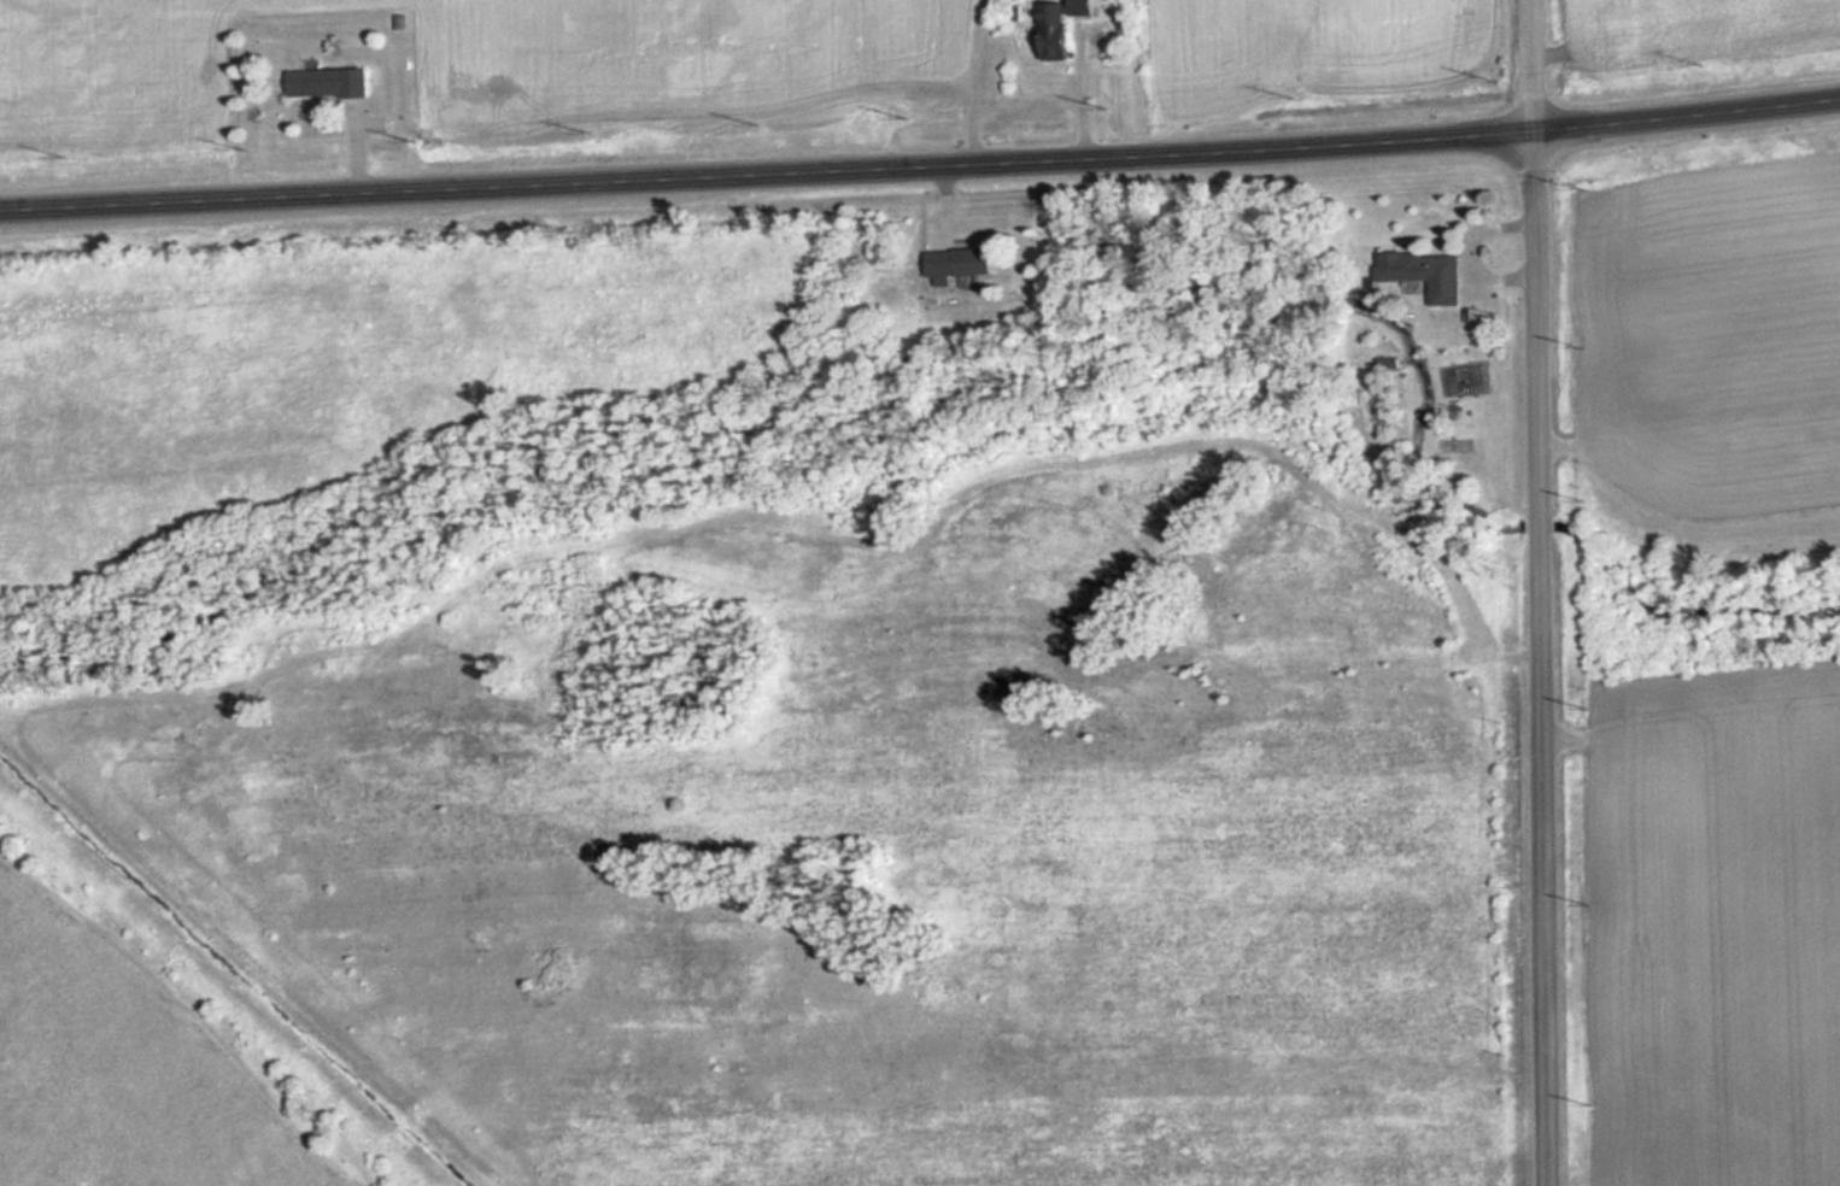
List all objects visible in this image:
building: (1056, 25)
road: (1533, 66)
building: (323, 83)
road: (920, 170)
building: (961, 260)
building: (1420, 272)
road: (1541, 658)

